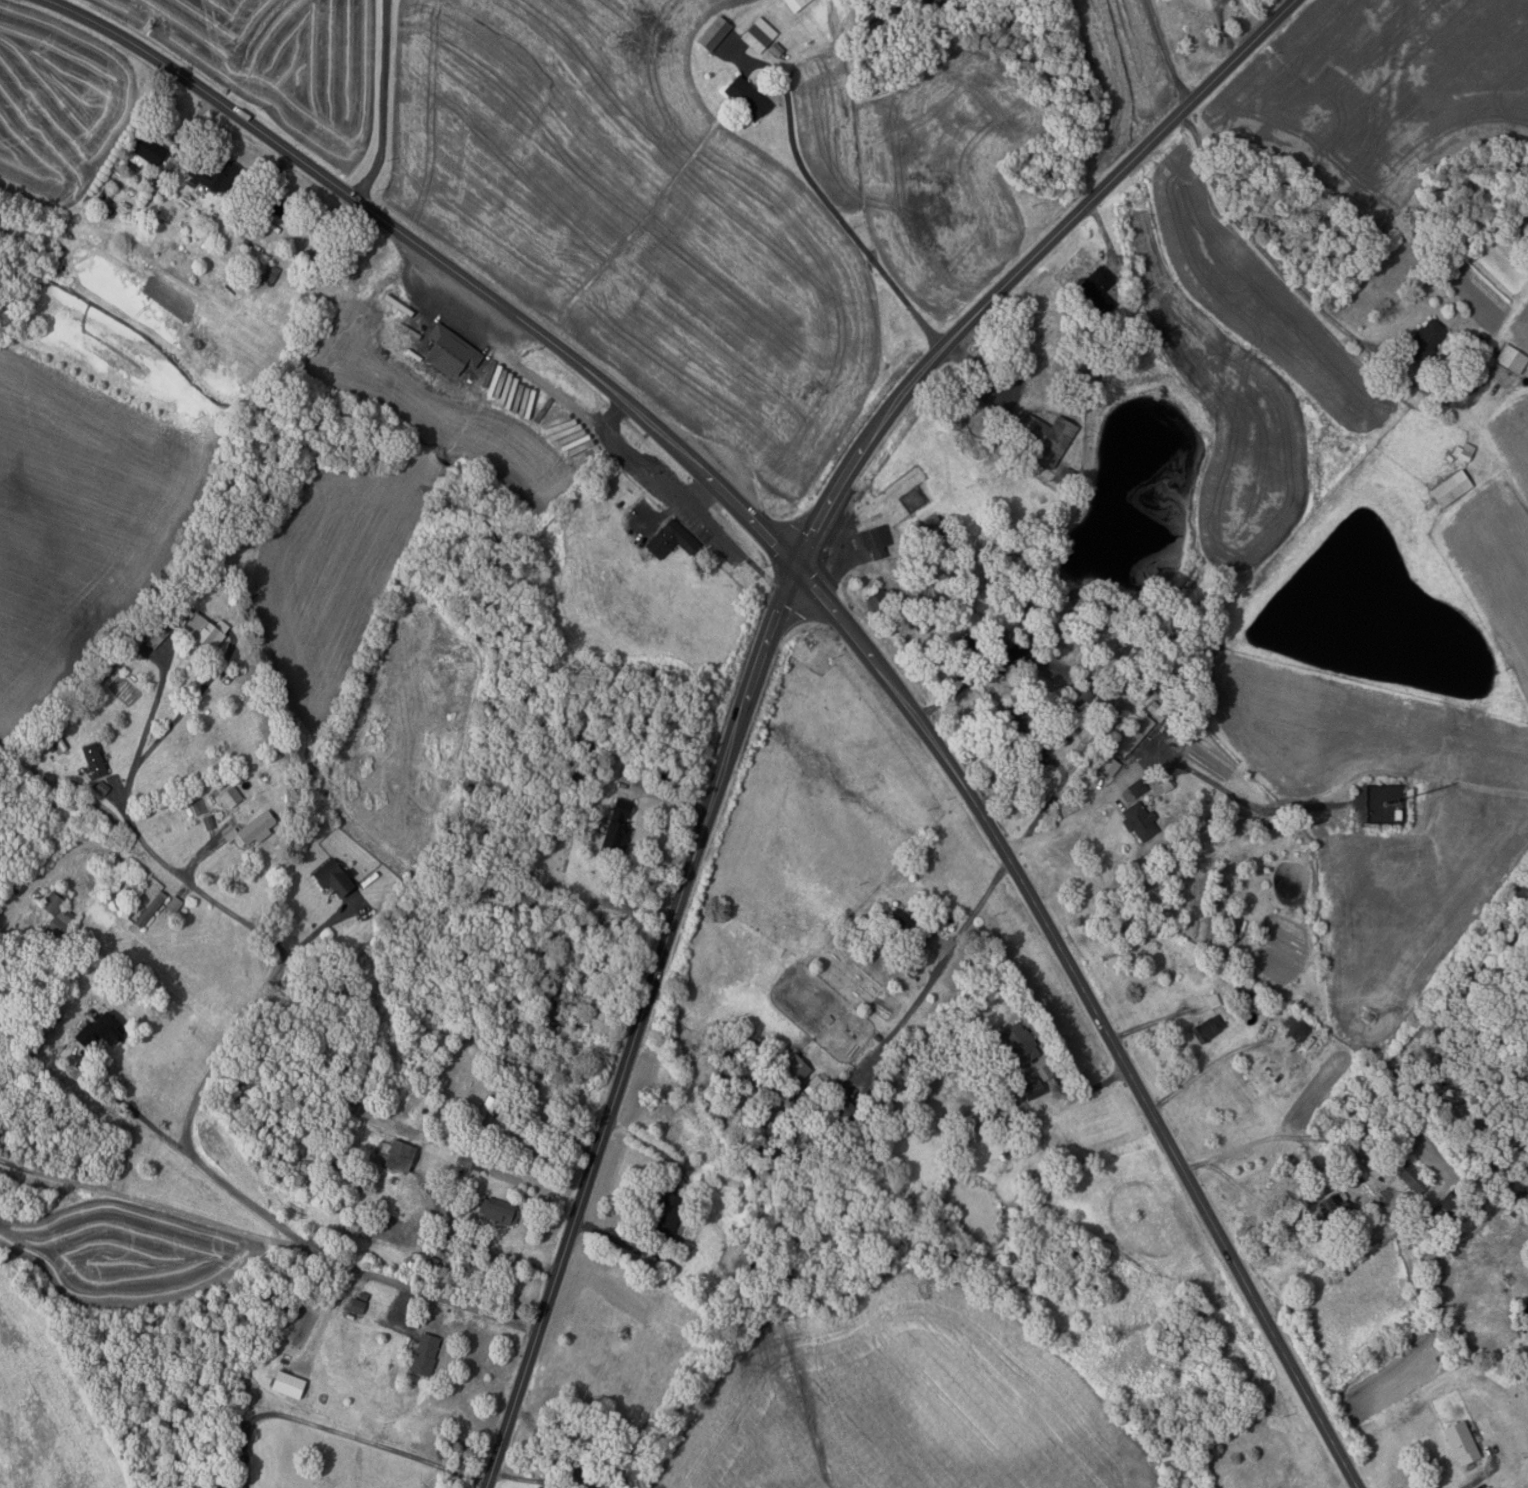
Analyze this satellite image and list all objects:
building: (795, 4)
building: (940, 5)
building: (884, 10)
road: (1223, 28)
building: (714, 33)
building: (758, 34)
building: (776, 49)
road: (1166, 54)
building: (786, 56)
crop: (277, 61)
building: (747, 98)
crop: (57, 105)
road: (390, 105)
road: (192, 126)
building: (143, 152)
crop: (924, 162)
building: (213, 171)
road: (271, 180)
building: (191, 183)
road: (830, 204)
building: (275, 205)
crop: (636, 217)
road: (1104, 233)
building: (306, 238)
road: (1283, 269)
building: (268, 274)
building: (1096, 292)
road: (496, 322)
park: (1033, 326)
building: (1426, 341)
building: (1480, 341)
building: (450, 352)
building: (1512, 359)
building: (1082, 364)
road: (981, 369)
road: (549, 389)
building: (1080, 393)
road: (614, 417)
building: (1045, 436)
building: (1464, 452)
building: (1451, 488)
crop: (367, 491)
crop: (78, 520)
building: (935, 528)
building: (671, 539)
building: (876, 541)
traffic signals: (796, 567)
building: (883, 600)
road: (841, 620)
building: (157, 628)
building: (204, 631)
building: (969, 652)
building: (1021, 654)
road: (757, 667)
building: (148, 675)
road: (959, 689)
building: (1085, 698)
road: (185, 708)
building: (1157, 709)
road: (152, 714)
building: (1030, 728)
building: (1135, 732)
building: (1180, 736)
building: (53, 746)
building: (94, 760)
road: (1166, 760)
building: (1109, 766)
building: (1165, 784)
building: (101, 788)
building: (1137, 788)
building: (230, 795)
road: (664, 797)
building: (208, 822)
building: (1140, 822)
building: (616, 826)
building: (251, 829)
road: (201, 856)
building: (114, 863)
building: (332, 876)
building: (54, 899)
building: (174, 903)
road: (976, 908)
building: (149, 909)
building: (58, 923)
building: (900, 929)
road: (316, 932)
building: (909, 966)
building: (1244, 989)
building: (55, 990)
building: (1213, 1001)
road: (908, 1011)
power tower: (1368, 1015)
road: (1157, 1020)
building: (1297, 1028)
building: (100, 1029)
building: (1207, 1029)
building: (877, 1036)
building: (1020, 1042)
building: (947, 1066)
road: (1206, 1067)
building: (423, 1070)
building: (794, 1070)
building: (1044, 1072)
building: (816, 1084)
building: (1032, 1088)
road: (1091, 1088)
road: (128, 1105)
building: (483, 1109)
building: (842, 1109)
building: (423, 1110)
road: (192, 1111)
building: (819, 1118)
road: (554, 1127)
road: (1284, 1135)
building: (399, 1155)
building: (470, 1162)
building: (1381, 1166)
building: (1345, 1175)
building: (1412, 1177)
road: (158, 1206)
road: (1286, 1207)
building: (1335, 1208)
building: (1452, 1208)
building: (498, 1210)
building: (667, 1215)
road: (699, 1225)
road: (497, 1249)
crop: (123, 1253)
building: (748, 1256)
building: (477, 1263)
building: (1404, 1286)
building: (363, 1295)
building: (356, 1305)
road: (398, 1309)
building: (448, 1310)
building: (412, 1319)
power tower: (1113, 1333)
building: (423, 1354)
building: (287, 1384)
crop: (901, 1400)
road: (356, 1436)
building: (1462, 1443)
building: (622, 1455)
road: (570, 1469)
road: (1483, 1475)
building: (231, 1483)
building: (542, 1487)

